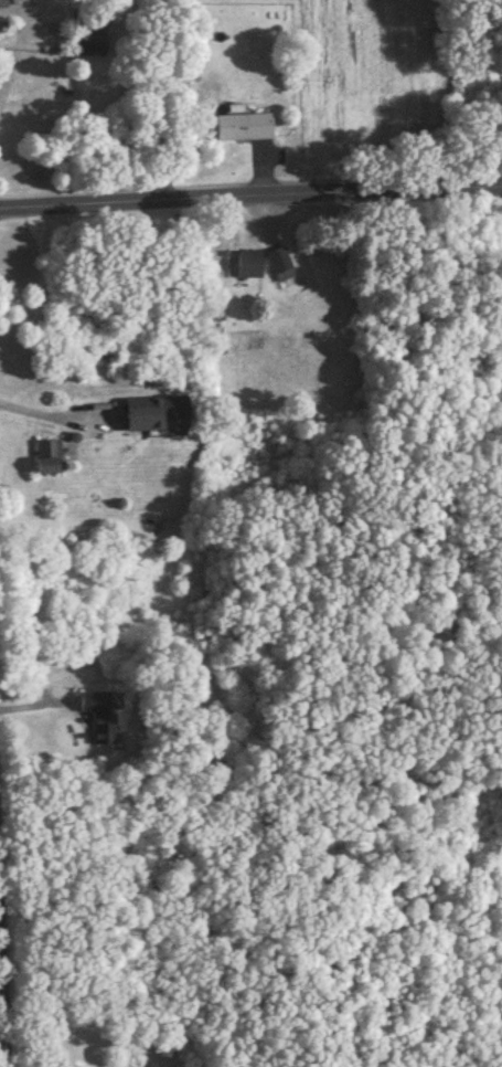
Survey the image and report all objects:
building: (3, 4)
building: (85, 43)
building: (245, 129)
road: (250, 194)
building: (248, 267)
building: (281, 267)
building: (158, 416)
building: (50, 459)
building: (100, 718)
road: (7, 911)

